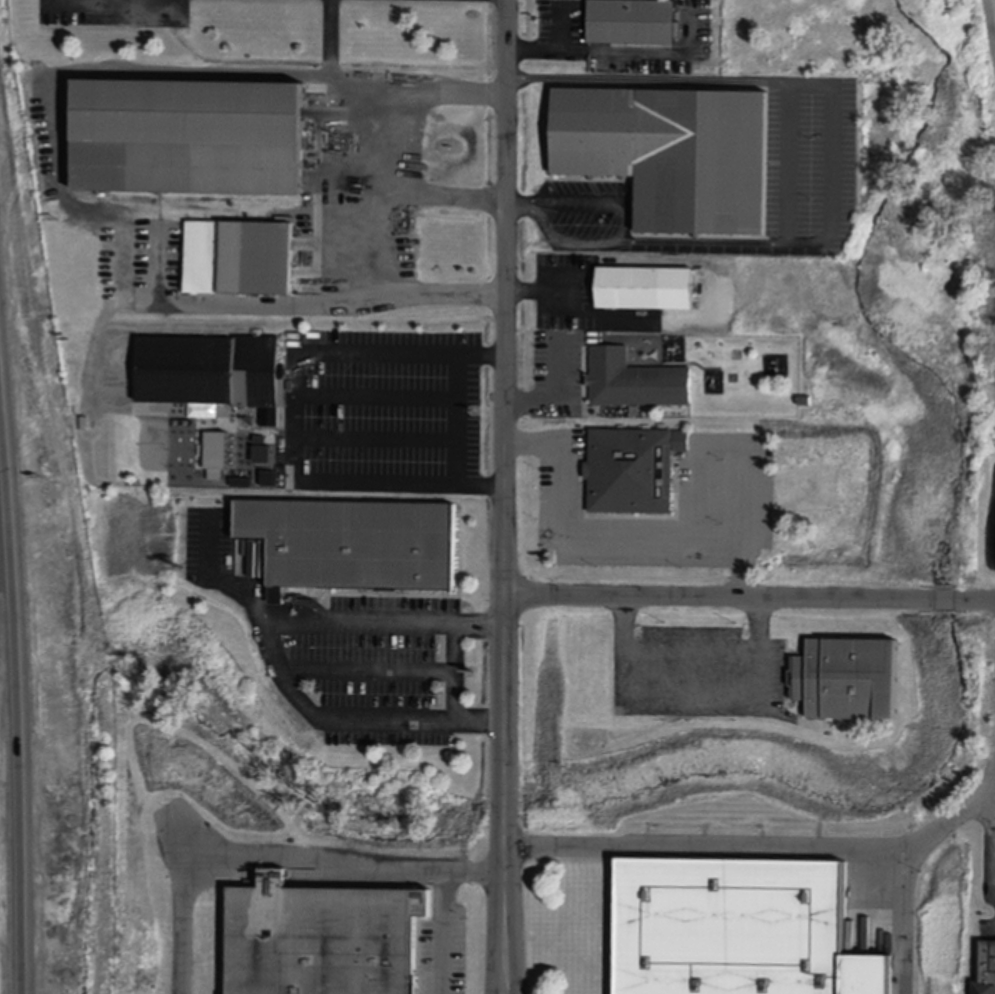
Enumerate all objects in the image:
building: (635, 27)
road: (591, 52)
road: (179, 74)
road: (831, 106)
road: (385, 136)
building: (192, 140)
building: (674, 156)
road: (622, 228)
road: (377, 239)
building: (241, 265)
building: (757, 265)
road: (541, 293)
building: (647, 293)
road: (506, 298)
road: (298, 308)
building: (215, 378)
building: (637, 384)
road: (554, 395)
road: (378, 398)
building: (806, 403)
road: (299, 418)
road: (457, 419)
road: (378, 438)
road: (724, 449)
building: (217, 455)
building: (635, 475)
road: (605, 540)
building: (356, 551)
road: (218, 580)
road: (749, 600)
road: (505, 610)
road: (360, 623)
road: (480, 624)
road: (691, 651)
road: (369, 672)
road: (456, 672)
road: (504, 673)
road: (23, 686)
building: (850, 688)
road: (332, 720)
road: (479, 721)
road: (993, 817)
road: (953, 820)
road: (775, 850)
road: (503, 857)
road: (277, 858)
building: (739, 929)
road: (444, 934)
building: (324, 939)
building: (987, 970)

